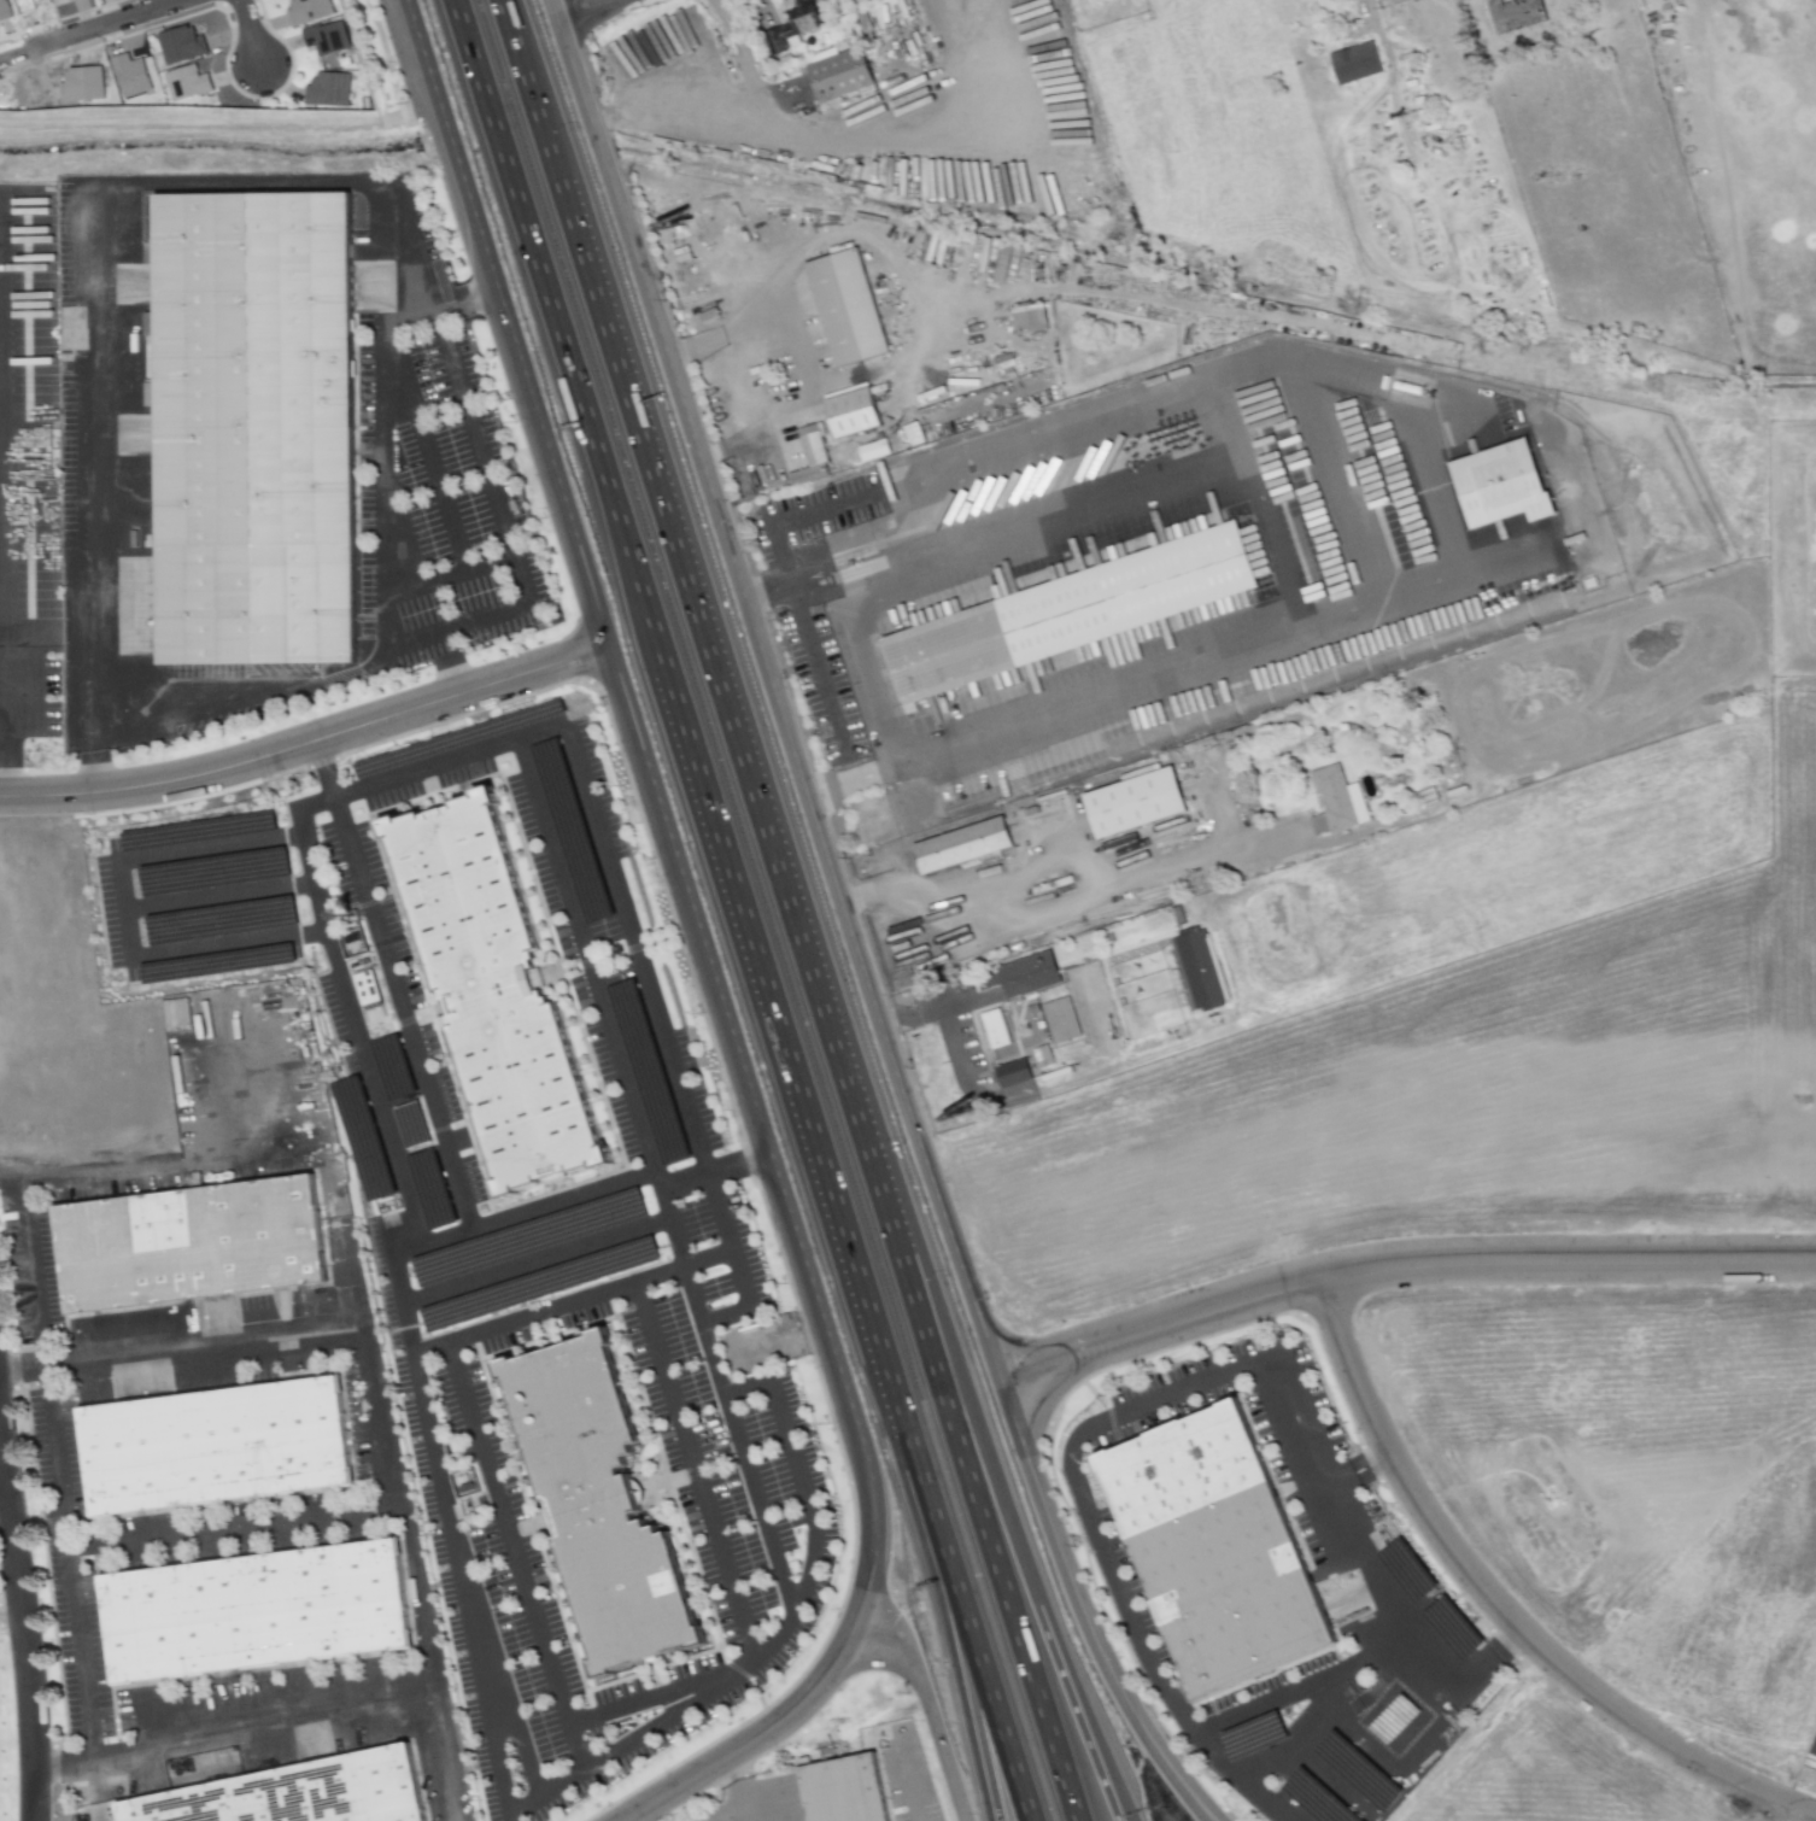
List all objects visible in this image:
building: (23, 5)
road: (1366, 7)
building: (4, 11)
building: (307, 11)
road: (591, 12)
building: (1519, 13)
building: (791, 27)
road: (88, 30)
road: (246, 35)
building: (326, 37)
building: (181, 45)
building: (1360, 63)
road: (532, 71)
building: (838, 74)
building: (130, 75)
building: (186, 82)
building: (81, 84)
building: (327, 89)
road: (720, 98)
road: (474, 292)
building: (853, 305)
building: (1029, 317)
road: (544, 320)
building: (148, 323)
road: (505, 323)
road: (1311, 398)
building: (855, 412)
road: (1068, 421)
building: (252, 427)
road: (426, 445)
building: (810, 456)
building: (1511, 484)
road: (1053, 500)
road: (909, 509)
road: (500, 526)
road: (857, 561)
road: (444, 576)
road: (786, 580)
road: (86, 582)
building: (1226, 604)
building: (1074, 613)
road: (435, 643)
road: (865, 656)
road: (445, 675)
road: (1137, 684)
road: (771, 686)
road: (1, 695)
building: (456, 738)
road: (744, 740)
road: (87, 742)
road: (307, 743)
road: (2, 756)
road: (888, 771)
road: (89, 772)
road: (840, 784)
building: (1335, 801)
building: (1142, 802)
building: (197, 831)
building: (968, 845)
building: (212, 872)
road: (1073, 883)
road: (854, 900)
building: (219, 920)
building: (216, 962)
building: (1196, 971)
building: (1027, 973)
building: (363, 978)
road: (389, 984)
building: (506, 995)
road: (648, 999)
road: (945, 1011)
building: (175, 1014)
building: (1060, 1020)
building: (994, 1029)
road: (605, 1030)
building: (1012, 1073)
road: (789, 1095)
road: (762, 1131)
road: (738, 1163)
road: (81, 1170)
road: (544, 1205)
building: (194, 1246)
road: (31, 1265)
road: (1399, 1266)
road: (568, 1301)
road: (370, 1398)
building: (206, 1441)
road: (1384, 1458)
road: (1354, 1465)
road: (692, 1471)
road: (797, 1475)
road: (1358, 1475)
building: (590, 1493)
road: (1000, 1497)
road: (447, 1538)
road: (117, 1546)
building: (1208, 1550)
road: (512, 1554)
road: (1366, 1559)
road: (1006, 1581)
building: (247, 1606)
road: (11, 1609)
road: (1502, 1609)
road: (1078, 1610)
road: (24, 1622)
road: (1141, 1645)
road: (84, 1684)
road: (963, 1686)
road: (980, 1686)
road: (1277, 1698)
road: (639, 1703)
road: (920, 1710)
road: (260, 1725)
road: (745, 1729)
building: (1253, 1735)
road: (1083, 1741)
road: (1400, 1763)
road: (98, 1787)
building: (834, 1787)
building: (288, 1791)
road: (910, 1792)

